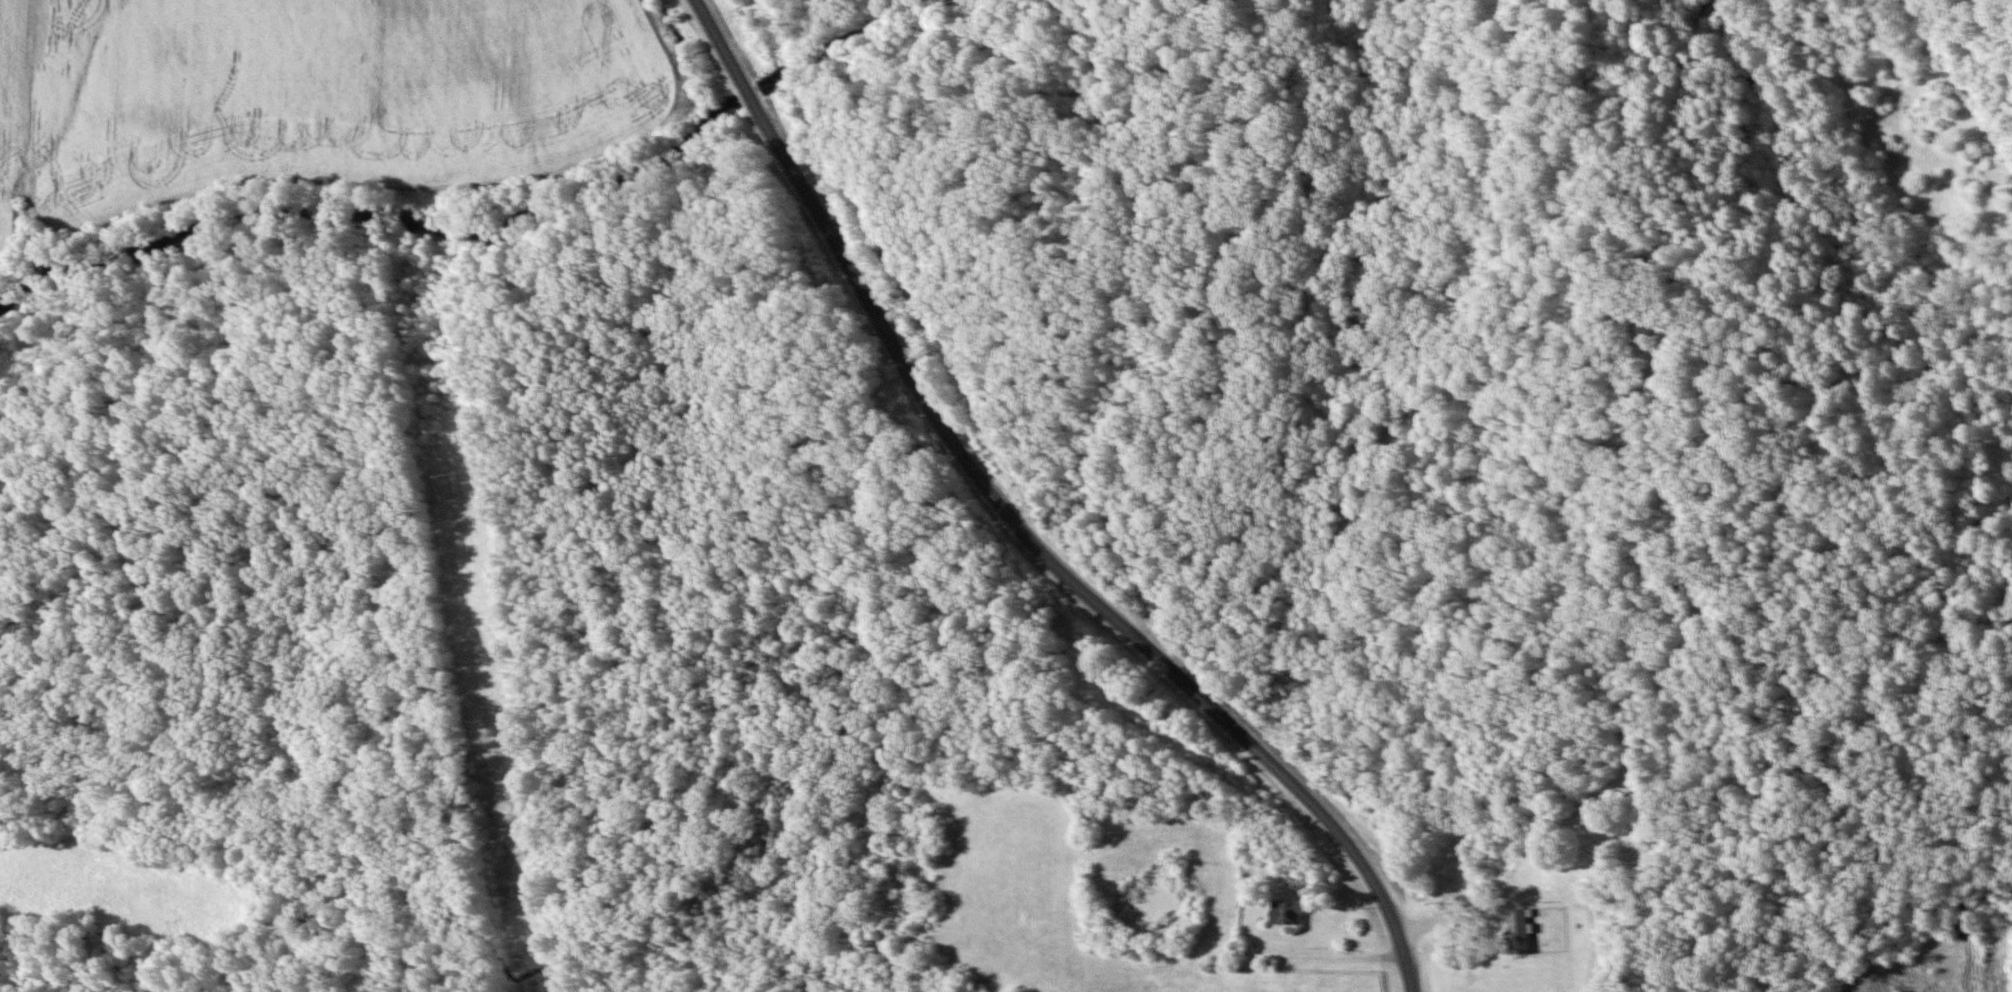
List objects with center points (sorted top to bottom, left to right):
power tower: (451, 474)
road: (1024, 523)
power tower: (483, 717)
building: (1284, 913)
building: (1516, 931)

